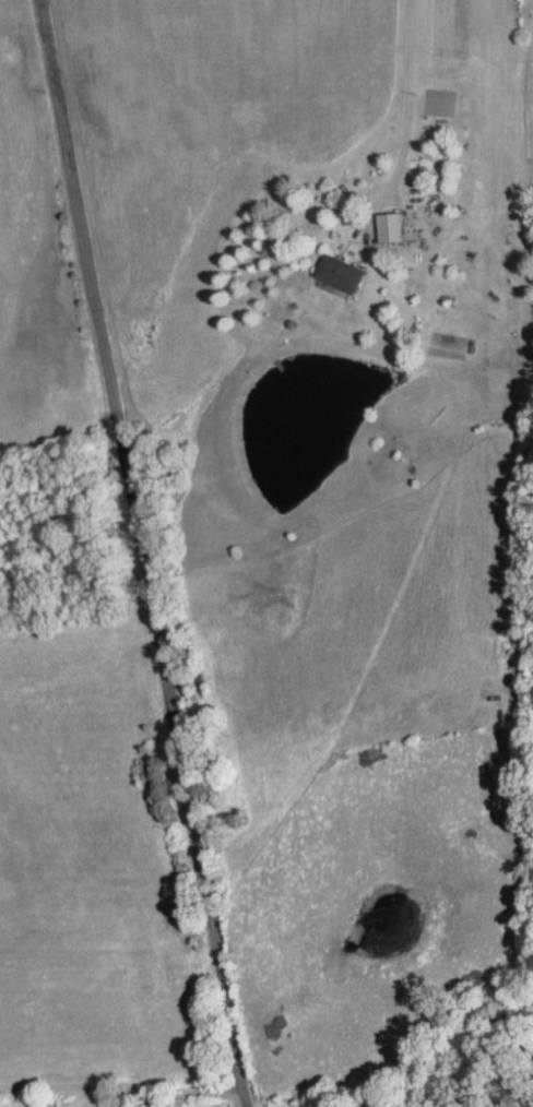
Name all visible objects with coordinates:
building: (393, 226)
building: (344, 272)
road: (144, 552)

